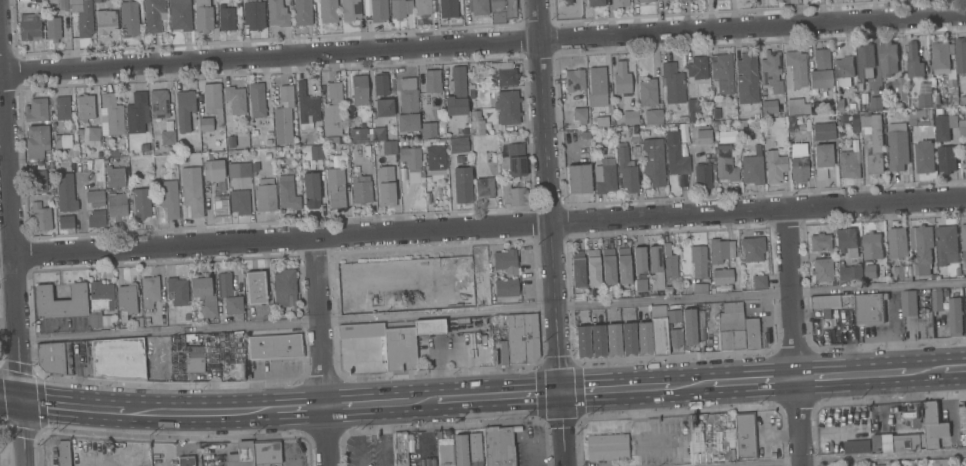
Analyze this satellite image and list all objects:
building: (644, 0)
building: (661, 0)
building: (685, 0)
building: (595, 3)
building: (619, 3)
building: (63, 5)
building: (478, 7)
building: (400, 8)
building: (422, 8)
building: (447, 8)
building: (350, 10)
park: (569, 10)
building: (328, 11)
building: (378, 11)
building: (503, 11)
building: (302, 12)
building: (277, 13)
building: (253, 14)
building: (154, 15)
building: (180, 15)
building: (203, 16)
building: (129, 17)
building: (225, 18)
building: (84, 20)
building: (105, 22)
building: (30, 26)
building: (52, 29)
road: (482, 42)
building: (960, 54)
building: (942, 57)
building: (888, 59)
building: (866, 61)
building: (914, 61)
building: (697, 67)
building: (796, 68)
building: (771, 70)
building: (820, 70)
building: (843, 71)
building: (503, 74)
building: (722, 74)
building: (621, 79)
building: (746, 79)
building: (574, 80)
building: (672, 83)
building: (380, 85)
building: (432, 85)
building: (597, 86)
building: (900, 87)
building: (925, 87)
building: (359, 90)
building: (647, 92)
building: (456, 93)
building: (953, 96)
building: (235, 98)
building: (935, 98)
building: (256, 100)
building: (962, 100)
building: (213, 101)
building: (925, 101)
building: (875, 103)
building: (158, 104)
building: (851, 105)
building: (407, 106)
building: (772, 106)
building: (85, 107)
building: (507, 107)
building: (840, 107)
building: (62, 108)
building: (384, 108)
building: (692, 108)
building: (184, 109)
building: (306, 109)
building: (795, 109)
building: (35, 110)
building: (332, 110)
building: (938, 111)
building: (136, 113)
building: (716, 113)
building: (112, 114)
building: (917, 114)
building: (579, 115)
building: (283, 116)
building: (630, 117)
building: (651, 117)
building: (476, 123)
building: (600, 123)
building: (205, 124)
building: (716, 124)
building: (944, 127)
building: (72, 128)
building: (962, 128)
building: (912, 129)
building: (428, 130)
building: (766, 130)
building: (823, 131)
building: (592, 132)
building: (634, 133)
building: (91, 134)
building: (358, 134)
building: (378, 134)
building: (586, 135)
building: (699, 135)
building: (37, 138)
building: (167, 138)
building: (329, 140)
building: (62, 141)
building: (874, 142)
building: (240, 143)
building: (793, 143)
building: (458, 144)
building: (897, 146)
building: (389, 148)
building: (965, 150)
building: (635, 152)
building: (316, 153)
building: (676, 155)
building: (267, 156)
building: (925, 156)
building: (47, 157)
building: (411, 158)
building: (435, 158)
building: (946, 159)
building: (822, 160)
building: (513, 161)
building: (653, 161)
building: (139, 163)
building: (849, 164)
building: (725, 165)
building: (255, 167)
building: (774, 167)
building: (239, 170)
building: (751, 170)
building: (798, 170)
building: (626, 172)
building: (215, 173)
building: (604, 176)
building: (702, 177)
building: (114, 178)
building: (578, 179)
building: (38, 181)
building: (462, 185)
building: (385, 186)
building: (335, 187)
building: (484, 188)
building: (361, 189)
building: (191, 190)
building: (311, 190)
building: (65, 193)
building: (287, 193)
building: (265, 195)
building: (516, 196)
road: (547, 196)
building: (94, 198)
building: (168, 198)
building: (51, 199)
building: (141, 202)
building: (239, 202)
building: (116, 205)
building: (220, 205)
building: (40, 217)
building: (96, 219)
building: (65, 222)
road: (483, 228)
road: (10, 236)
building: (819, 242)
building: (846, 242)
building: (897, 242)
building: (946, 244)
building: (963, 244)
building: (873, 246)
building: (922, 247)
building: (753, 249)
building: (720, 250)
building: (504, 260)
building: (638, 260)
building: (698, 262)
building: (669, 264)
building: (608, 266)
building: (462, 267)
building: (593, 267)
building: (654, 267)
building: (577, 269)
building: (623, 270)
building: (822, 270)
building: (870, 271)
building: (903, 272)
building: (958, 272)
building: (850, 273)
building: (721, 276)
building: (759, 282)
building: (223, 285)
building: (640, 285)
building: (283, 286)
building: (255, 288)
building: (506, 288)
building: (699, 288)
building: (149, 291)
building: (177, 291)
building: (668, 291)
building: (101, 296)
building: (203, 296)
building: (126, 300)
building: (937, 300)
building: (60, 302)
building: (909, 304)
building: (233, 305)
building: (458, 305)
building: (831, 306)
building: (292, 308)
building: (870, 309)
road: (491, 311)
building: (186, 316)
building: (673, 316)
building: (956, 316)
building: (237, 318)
building: (94, 319)
building: (700, 320)
building: (146, 321)
building: (138, 323)
building: (926, 324)
building: (688, 326)
building: (429, 327)
building: (731, 327)
building: (361, 331)
building: (659, 331)
building: (752, 334)
building: (700, 335)
road: (1, 336)
building: (643, 337)
building: (628, 338)
building: (675, 338)
road: (791, 338)
building: (522, 339)
building: (613, 339)
building: (597, 340)
building: (582, 341)
building: (765, 341)
building: (274, 347)
building: (400, 349)
building: (500, 352)
road: (322, 353)
building: (195, 354)
building: (54, 358)
building: (114, 359)
road: (953, 369)
road: (924, 371)
road: (850, 376)
road: (753, 382)
road: (693, 386)
road: (616, 390)
traffic signals: (558, 393)
road: (959, 396)
road: (499, 397)
road: (10, 400)
traffic signals: (20, 402)
road: (422, 402)
road: (364, 405)
road: (73, 407)
road: (299, 409)
road: (201, 413)
road: (39, 416)
building: (917, 423)
road: (1, 424)
building: (516, 429)
road: (560, 429)
road: (22, 434)
building: (915, 434)
building: (745, 435)
building: (692, 439)
building: (725, 440)
building: (498, 446)
building: (856, 446)
building: (606, 447)
building: (400, 449)
building: (474, 449)
building: (460, 450)
building: (63, 453)
building: (266, 453)
building: (241, 455)
building: (443, 455)
building: (772, 456)
building: (147, 459)
road: (874, 459)
building: (185, 461)
building: (956, 464)
building: (881, 465)

